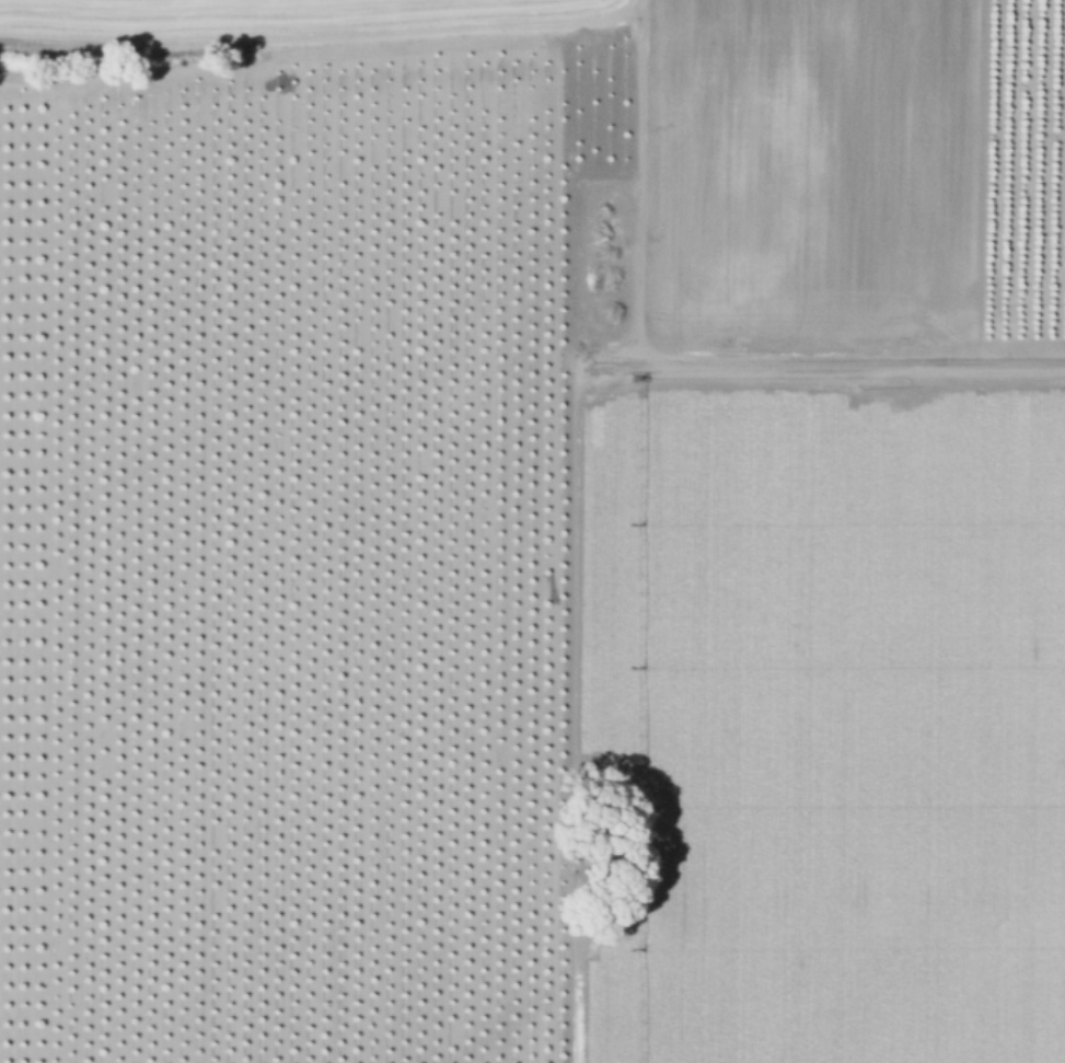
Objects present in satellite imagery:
crop: (532, 531)

